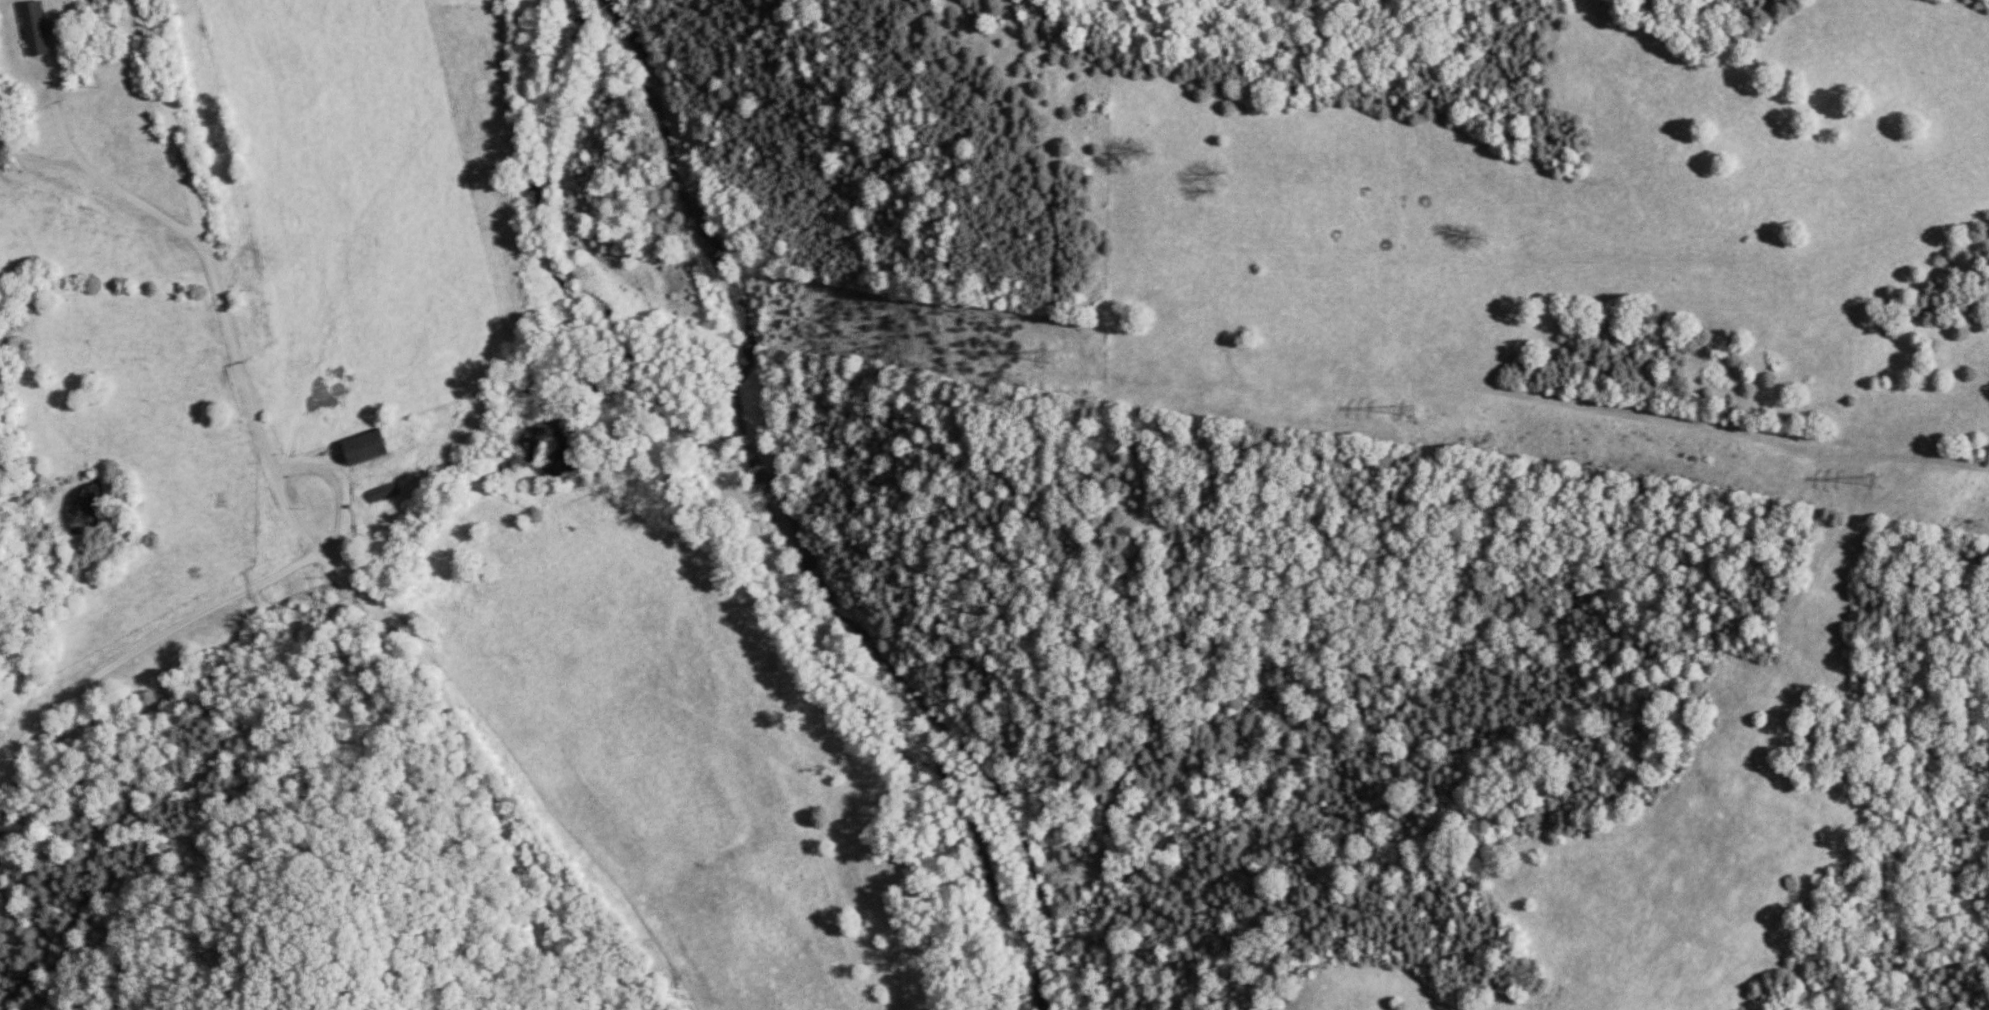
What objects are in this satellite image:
road: (100, 179)
river: (738, 512)
road: (312, 540)
road: (143, 647)

